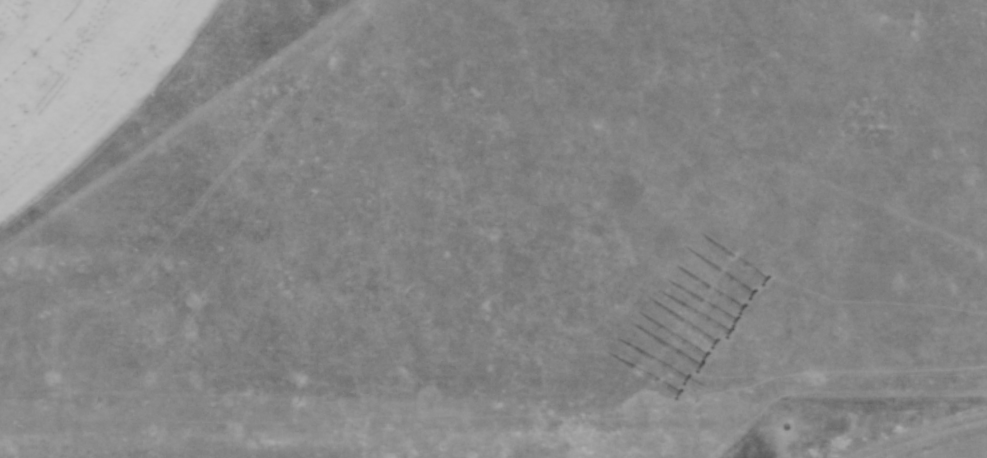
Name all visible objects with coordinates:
crop: (79, 74)
crop: (948, 447)

